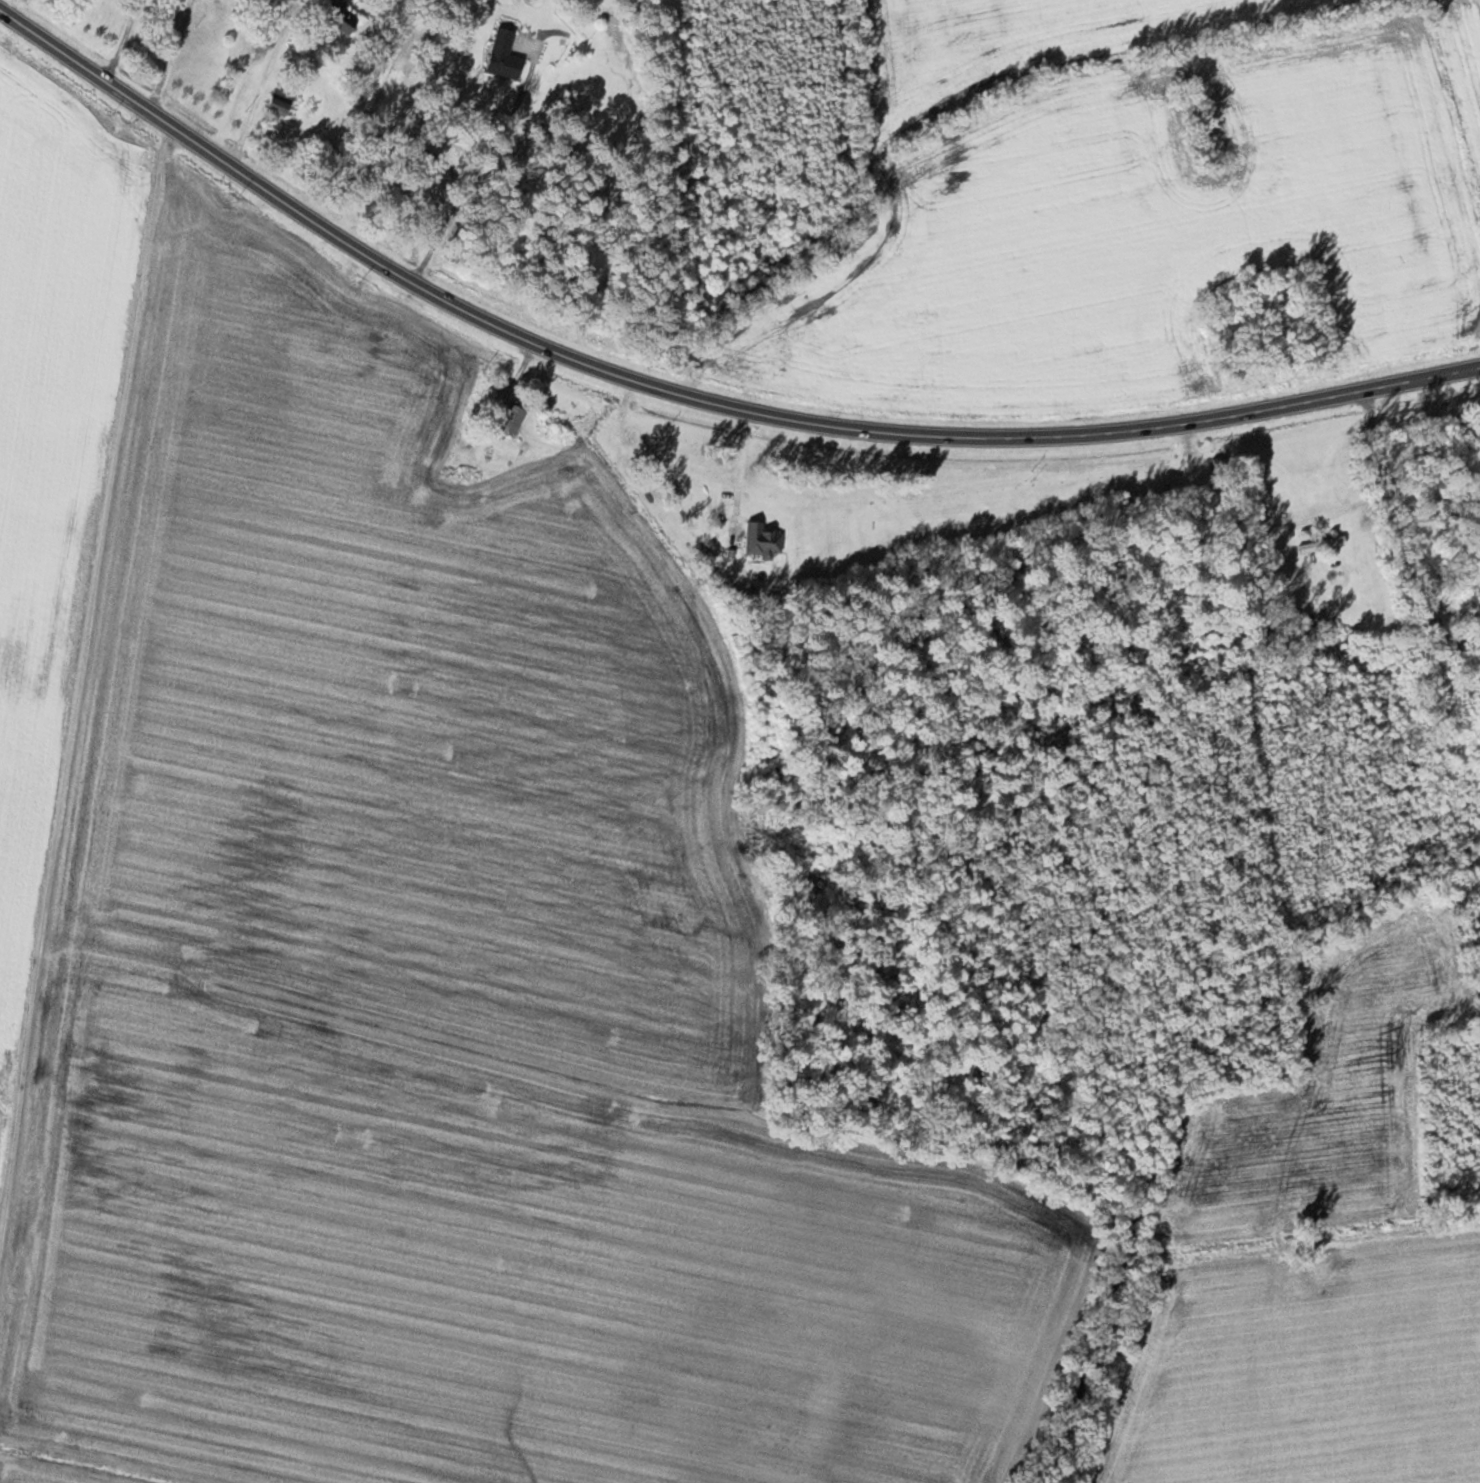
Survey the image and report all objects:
building: (329, 15)
building: (498, 54)
road: (173, 55)
building: (598, 58)
road: (235, 84)
road: (260, 94)
building: (272, 101)
building: (326, 321)
road: (692, 399)
building: (508, 419)
building: (1331, 539)
building: (759, 541)

